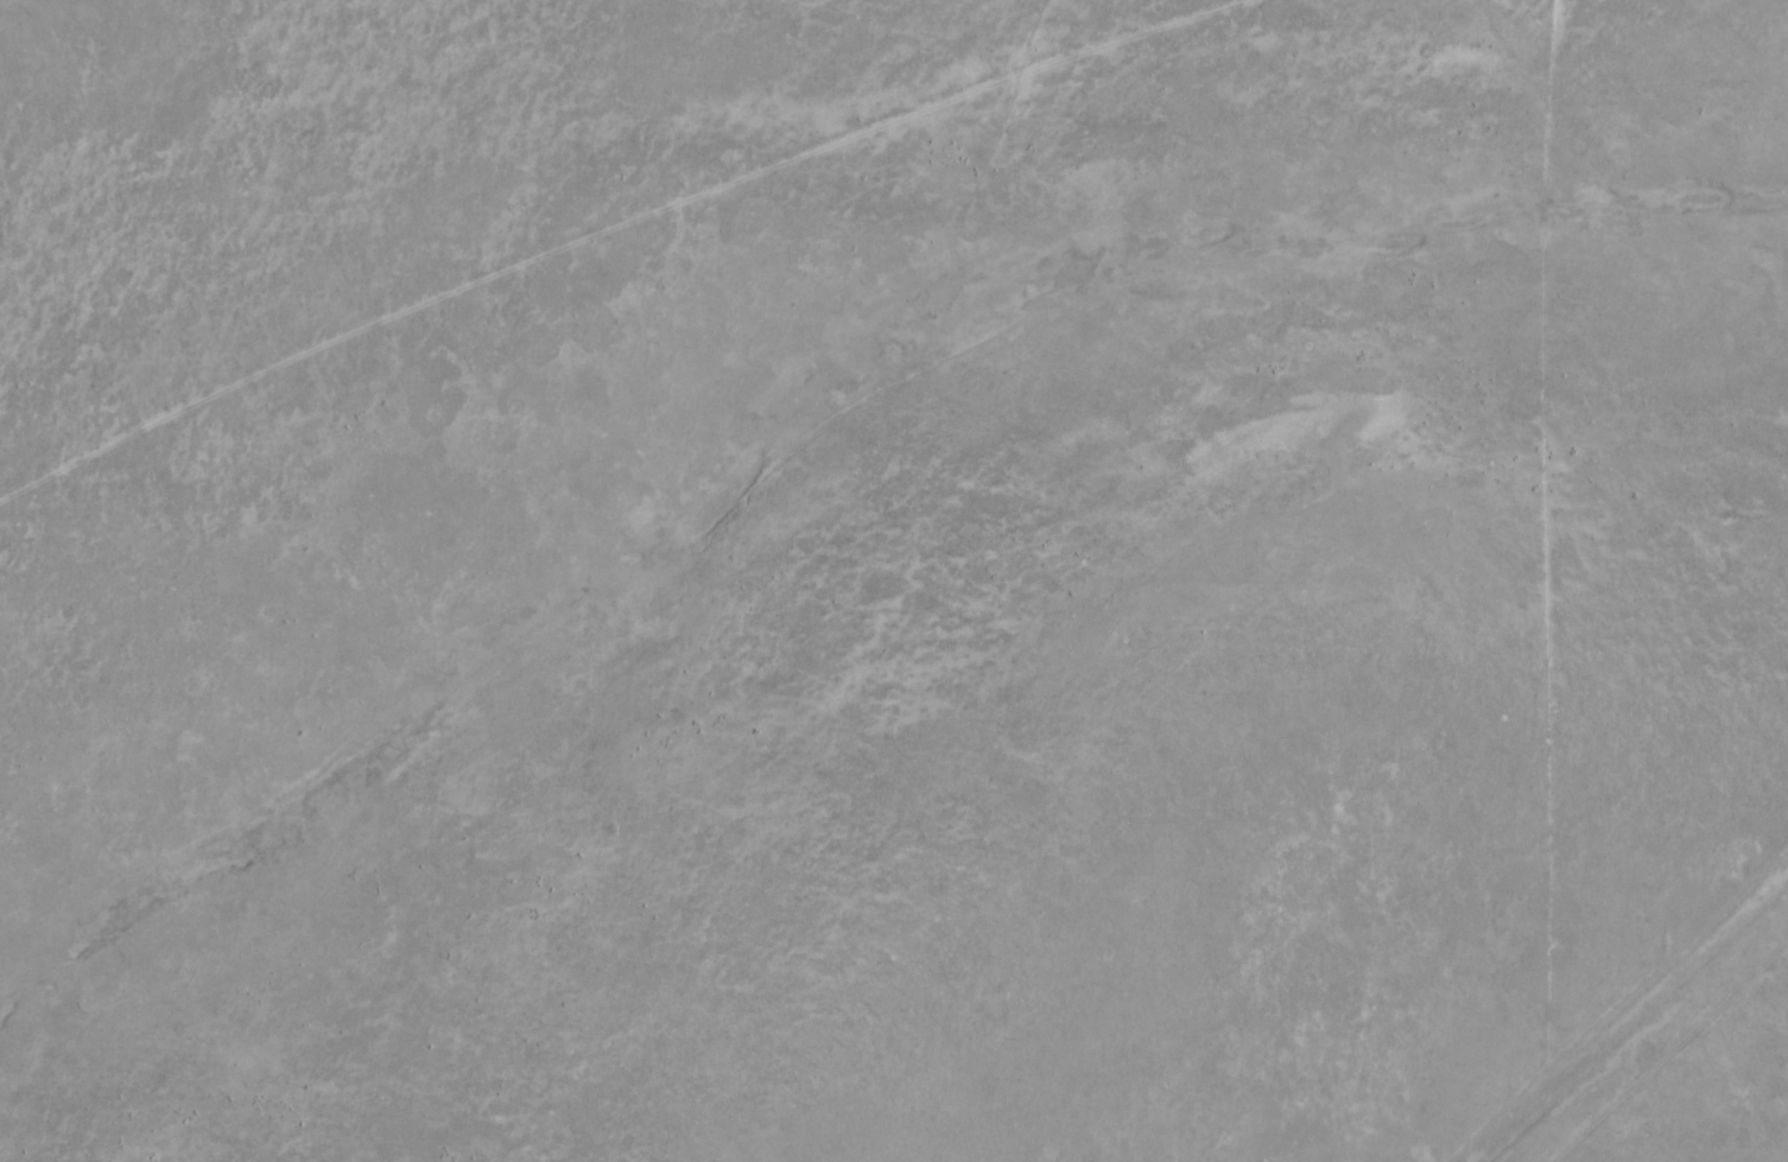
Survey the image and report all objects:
road: (1613, 1015)

